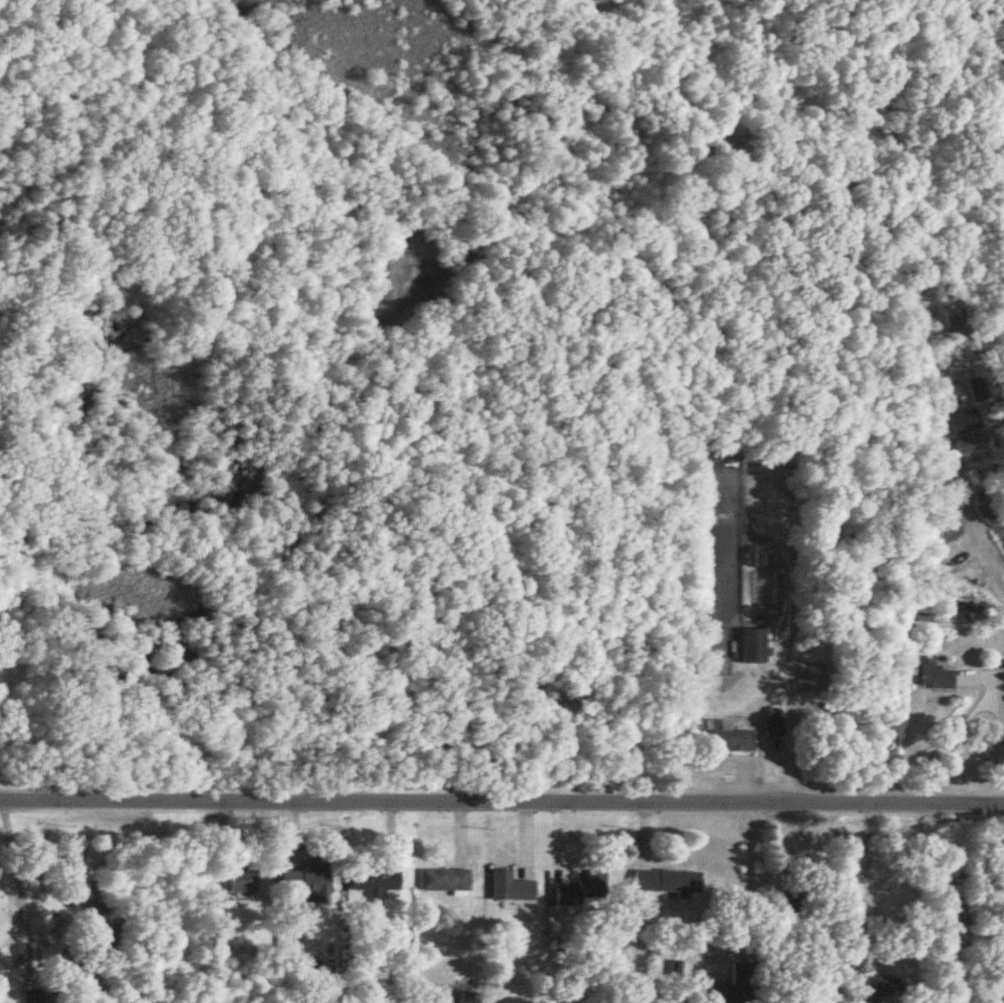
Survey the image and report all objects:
building: (988, 513)
building: (754, 647)
building: (933, 676)
road: (980, 706)
building: (774, 724)
building: (731, 741)
road: (501, 802)
road: (866, 875)
building: (445, 881)
building: (244, 882)
building: (662, 882)
building: (306, 883)
building: (377, 884)
building: (511, 888)
building: (583, 889)
road: (921, 903)
building: (884, 987)
building: (470, 998)
building: (43, 999)

